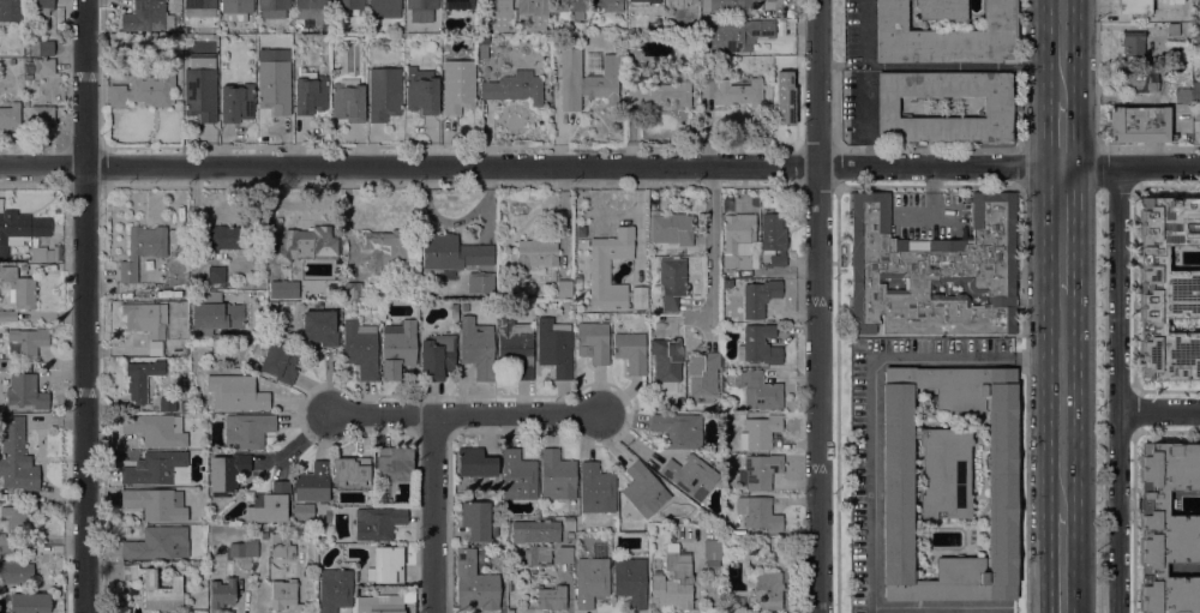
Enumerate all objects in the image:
building: (770, 0)
building: (643, 2)
building: (678, 2)
building: (1199, 2)
building: (347, 4)
building: (458, 4)
building: (607, 5)
building: (727, 6)
building: (1139, 6)
building: (41, 7)
building: (274, 7)
building: (568, 7)
building: (199, 8)
building: (311, 8)
building: (385, 8)
building: (10, 10)
building: (236, 10)
building: (421, 10)
building: (942, 10)
building: (498, 13)
building: (535, 13)
building: (148, 16)
building: (1174, 29)
building: (738, 34)
building: (1199, 34)
building: (619, 36)
building: (946, 36)
building: (115, 44)
building: (1133, 44)
building: (482, 46)
building: (42, 47)
road: (1062, 50)
building: (1198, 52)
building: (590, 61)
building: (28, 67)
building: (46, 67)
building: (1186, 70)
building: (587, 79)
building: (1138, 80)
building: (457, 85)
building: (200, 86)
building: (274, 86)
building: (515, 88)
building: (143, 89)
building: (421, 90)
building: (732, 91)
building: (311, 92)
building: (662, 92)
building: (1195, 92)
building: (384, 94)
building: (1183, 96)
building: (784, 98)
building: (348, 101)
building: (236, 102)
building: (1002, 107)
building: (10, 115)
building: (41, 115)
building: (1138, 125)
building: (1199, 125)
road: (1062, 133)
road: (600, 167)
building: (672, 228)
building: (19, 229)
road: (1062, 229)
building: (228, 238)
building: (740, 239)
building: (773, 239)
building: (306, 244)
building: (143, 248)
building: (385, 248)
road: (710, 248)
building: (452, 252)
building: (536, 253)
building: (37, 254)
building: (600, 271)
building: (934, 271)
building: (216, 275)
building: (481, 282)
building: (672, 282)
building: (727, 283)
building: (19, 288)
building: (564, 288)
building: (1168, 289)
building: (278, 292)
building: (353, 292)
building: (760, 298)
road: (85, 306)
road: (817, 306)
building: (464, 307)
building: (454, 313)
building: (214, 314)
building: (8, 315)
building: (144, 319)
building: (320, 327)
building: (29, 341)
building: (593, 342)
building: (760, 345)
building: (554, 347)
building: (360, 348)
building: (398, 348)
building: (478, 348)
building: (515, 349)
building: (631, 351)
building: (437, 356)
building: (280, 362)
building: (666, 365)
building: (702, 373)
building: (140, 379)
road: (872, 387)
road: (1117, 389)
building: (25, 391)
building: (758, 391)
building: (236, 393)
road: (1063, 402)
building: (173, 403)
road: (1158, 410)
road: (464, 414)
building: (154, 429)
building: (247, 431)
building: (678, 431)
building: (760, 432)
building: (13, 450)
building: (475, 462)
building: (395, 463)
building: (157, 469)
building: (352, 471)
building: (760, 471)
building: (227, 473)
building: (557, 475)
building: (690, 475)
building: (518, 476)
building: (949, 481)
building: (313, 482)
building: (596, 488)
building: (644, 489)
building: (156, 504)
building: (270, 504)
building: (304, 512)
road: (433, 513)
building: (758, 513)
building: (17, 517)
building: (476, 521)
building: (377, 522)
building: (1166, 527)
building: (264, 528)
building: (535, 531)
building: (264, 534)
building: (766, 541)
building: (774, 541)
building: (157, 543)
building: (281, 546)
building: (244, 548)
building: (710, 552)
building: (538, 554)
building: (565, 554)
building: (786, 559)
road: (1063, 563)
building: (386, 565)
building: (14, 569)
building: (277, 569)
building: (593, 577)
building: (630, 579)
building: (673, 581)
building: (474, 583)
building: (156, 589)
building: (335, 589)
building: (767, 590)
building: (222, 593)
building: (283, 593)
building: (551, 597)
building: (30, 603)
building: (379, 603)
road: (935, 608)

